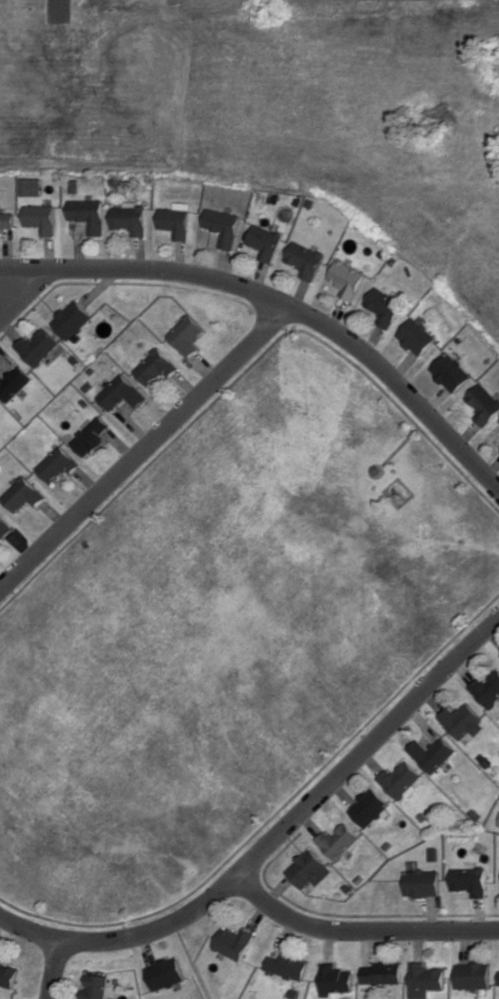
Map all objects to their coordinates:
park: (277, 111)
building: (31, 186)
building: (87, 213)
building: (129, 217)
building: (40, 218)
building: (6, 220)
building: (175, 220)
building: (222, 226)
building: (264, 241)
building: (304, 258)
building: (345, 279)
road: (16, 295)
road: (282, 304)
building: (382, 307)
building: (72, 319)
building: (186, 335)
building: (414, 336)
building: (37, 346)
building: (155, 367)
building: (448, 372)
building: (13, 383)
building: (121, 393)
building: (482, 403)
building: (498, 422)
building: (91, 436)
road: (143, 449)
building: (58, 464)
building: (23, 494)
building: (5, 527)
park: (226, 637)
building: (488, 690)
building: (464, 721)
building: (433, 753)
building: (400, 780)
building: (368, 807)
road: (274, 837)
building: (338, 840)
building: (308, 869)
building: (469, 880)
building: (421, 882)
road: (360, 930)
building: (235, 942)
building: (288, 966)
road: (54, 969)
building: (383, 972)
building: (9, 973)
building: (166, 973)
building: (474, 974)
building: (336, 979)
building: (426, 979)
building: (96, 986)

